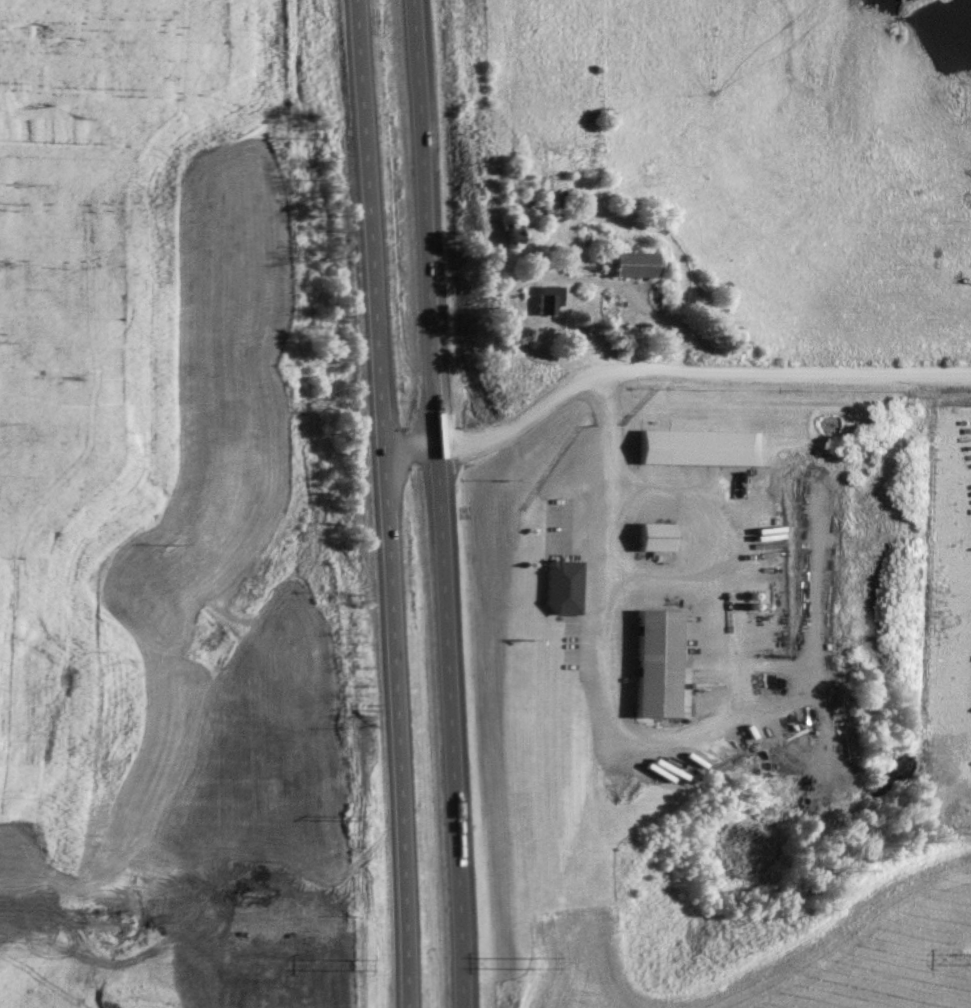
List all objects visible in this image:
building: (635, 263)
road: (627, 295)
building: (550, 297)
road: (666, 368)
building: (707, 446)
road: (384, 503)
road: (439, 504)
road: (614, 535)
building: (659, 535)
building: (566, 585)
building: (660, 662)
power tower: (536, 965)
power tower: (361, 967)

